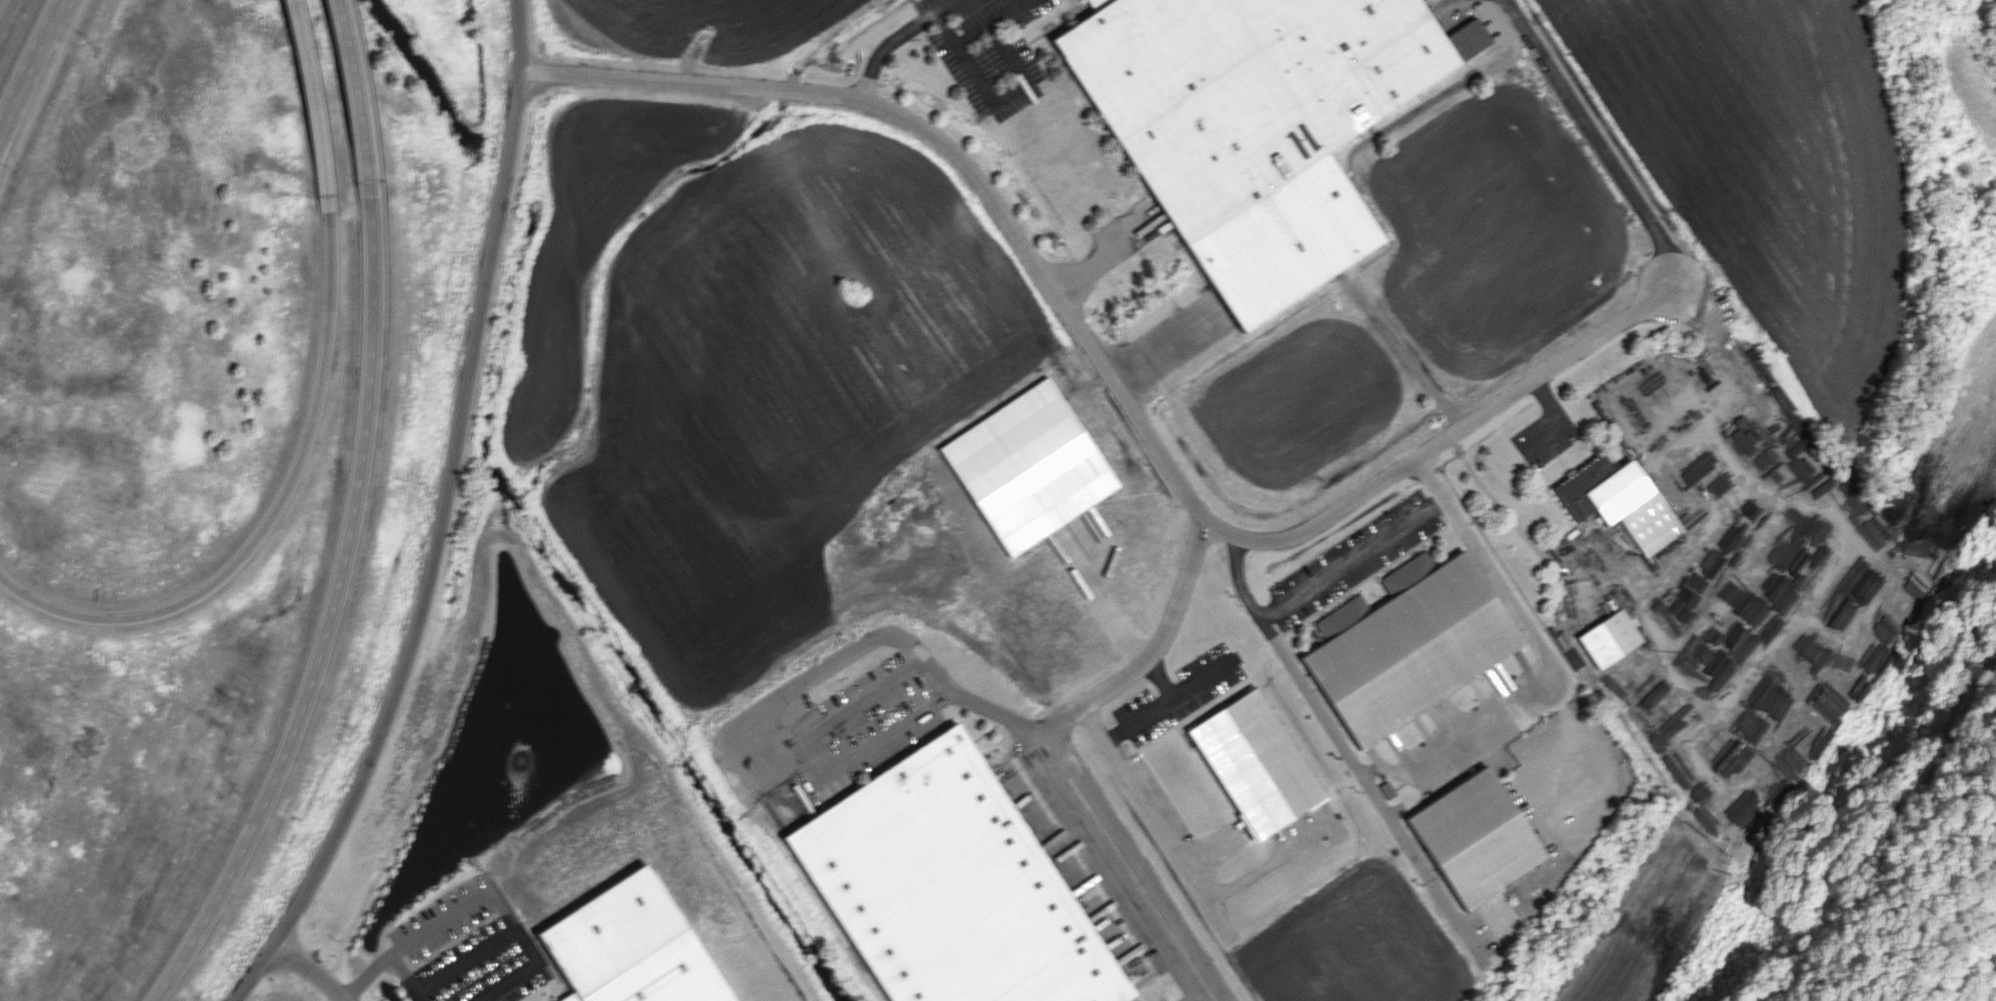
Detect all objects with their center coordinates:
road: (935, 10)
road: (1007, 13)
road: (880, 51)
road: (29, 60)
road: (346, 67)
road: (690, 81)
road: (36, 89)
road: (1008, 94)
road: (308, 100)
building: (1249, 123)
road: (1597, 138)
road: (1726, 387)
building: (1027, 466)
building: (1600, 489)
road: (271, 514)
road: (1204, 516)
road: (440, 518)
road: (1335, 572)
road: (338, 587)
road: (1534, 637)
building: (1608, 638)
road: (856, 650)
building: (1409, 650)
road: (1142, 661)
road: (1202, 680)
road: (1142, 718)
road: (806, 758)
building: (1254, 762)
road: (1375, 771)
building: (1476, 837)
road: (1131, 866)
building: (947, 887)
road: (457, 910)
road: (480, 951)
road: (382, 962)
road: (313, 974)
building: (659, 976)
road: (509, 984)

